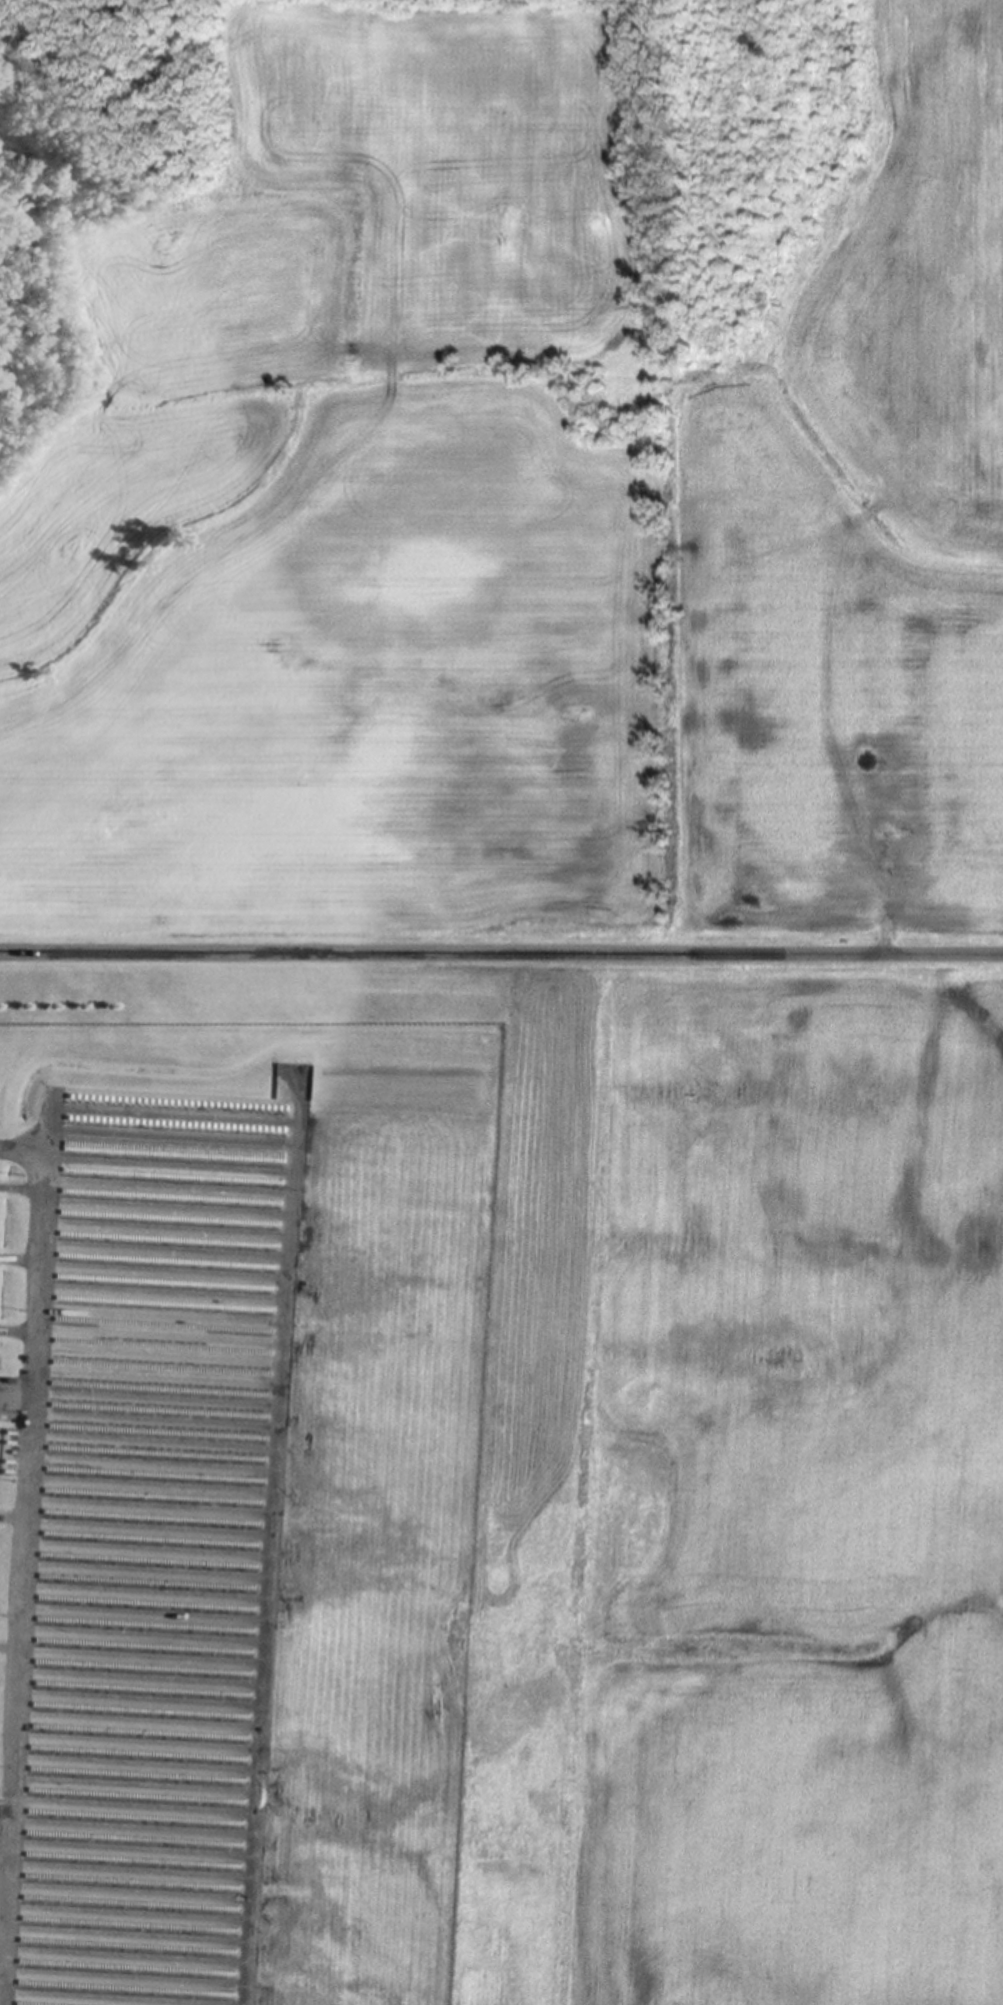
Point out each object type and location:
road: (501, 956)
road: (19, 1513)
road: (2, 1805)

